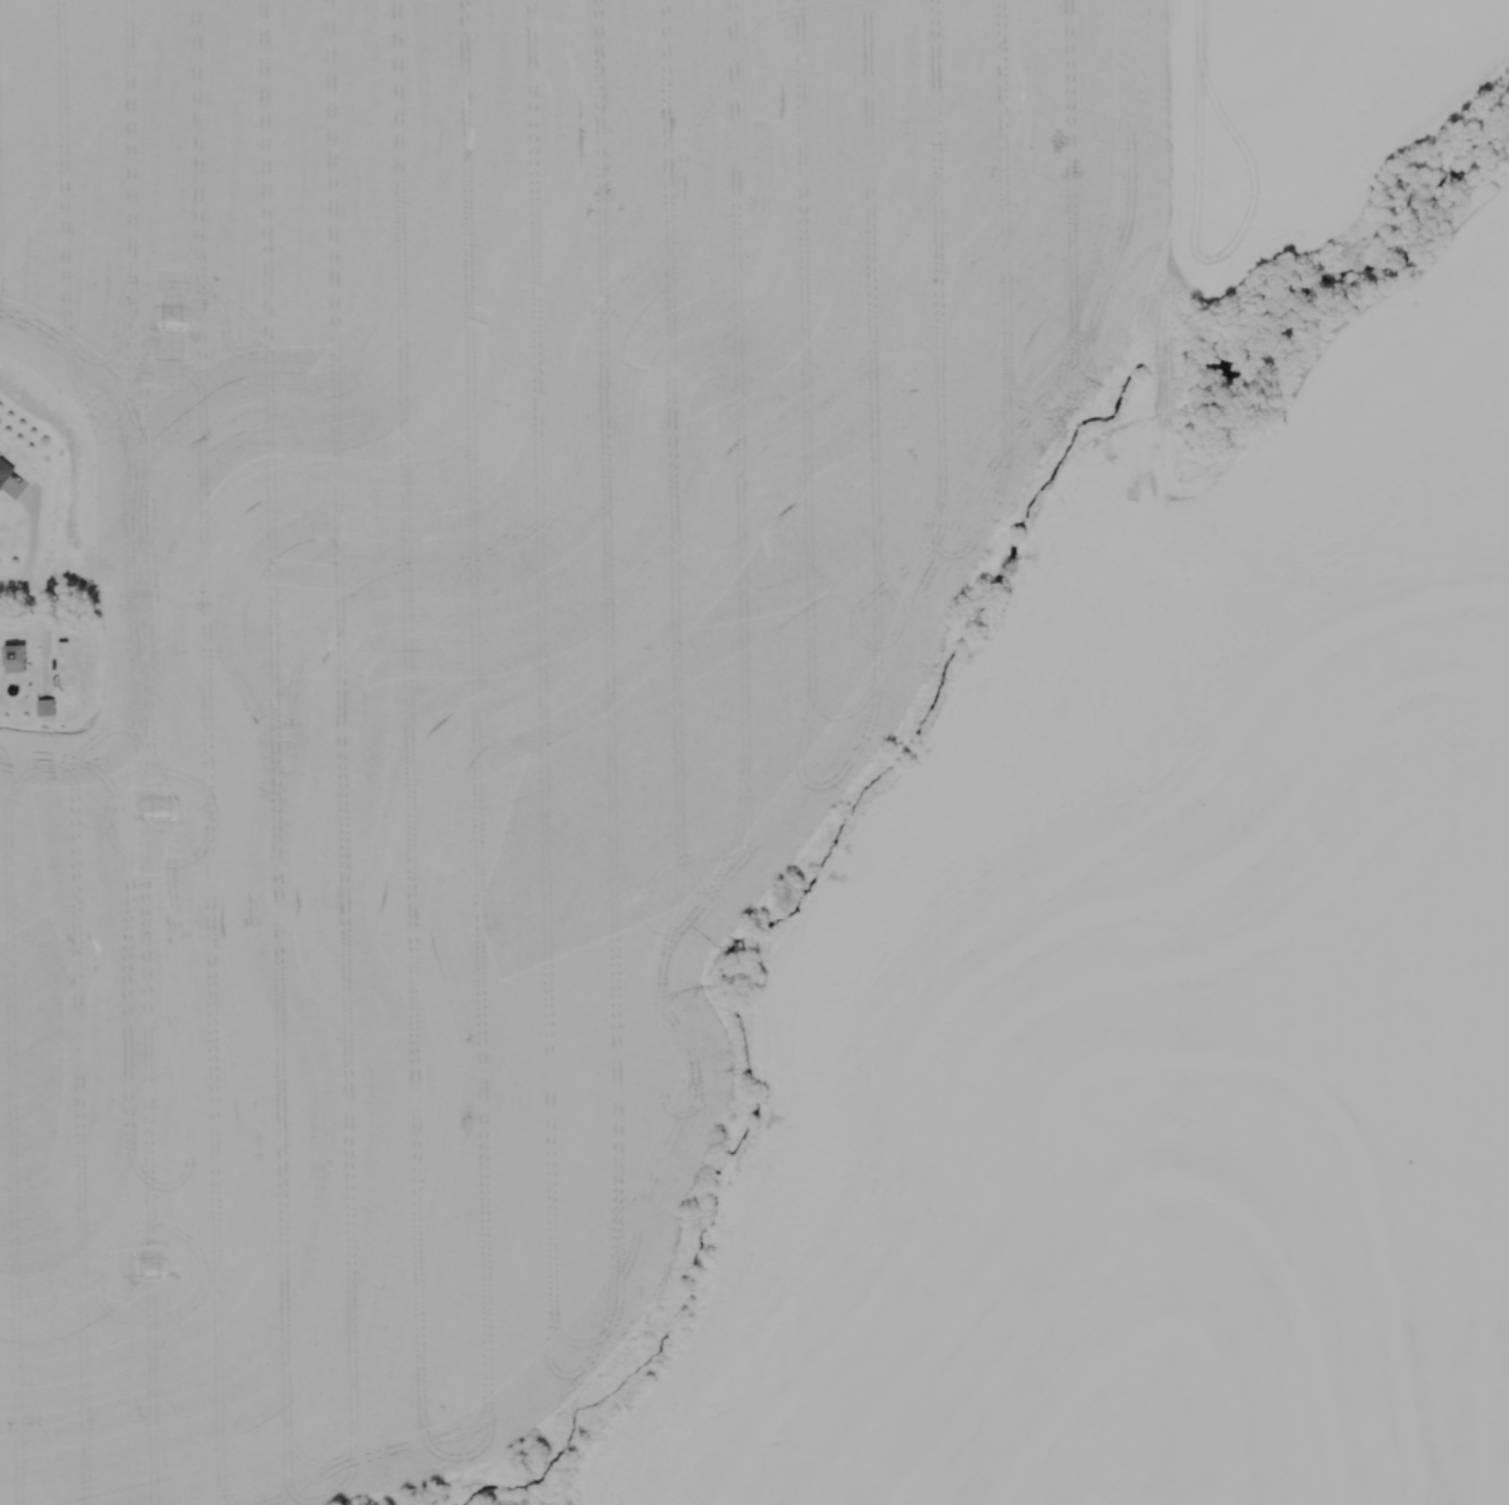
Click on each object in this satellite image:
power tower: (174, 326)
building: (5, 471)
road: (30, 537)
road: (50, 599)
road: (99, 635)
building: (16, 659)
building: (105, 695)
power tower: (162, 817)
power tower: (150, 1274)

